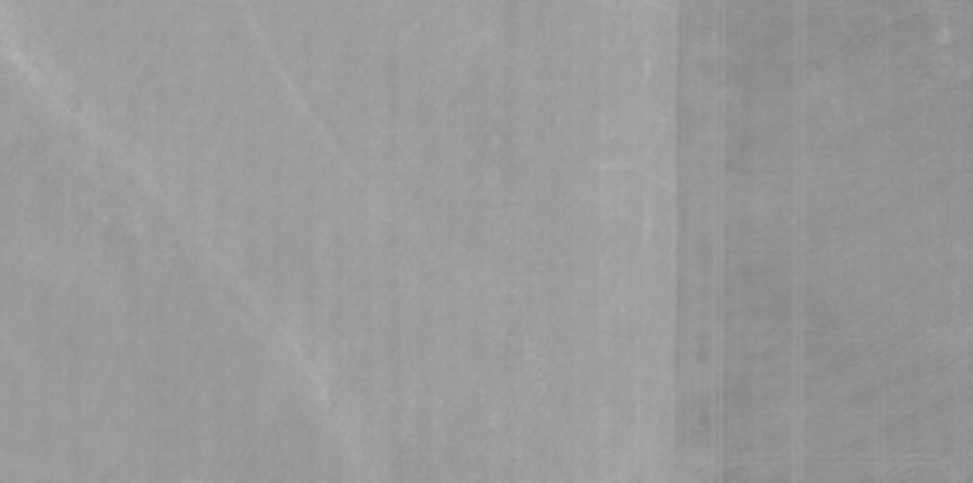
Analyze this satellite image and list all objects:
crop: (486, 241)

